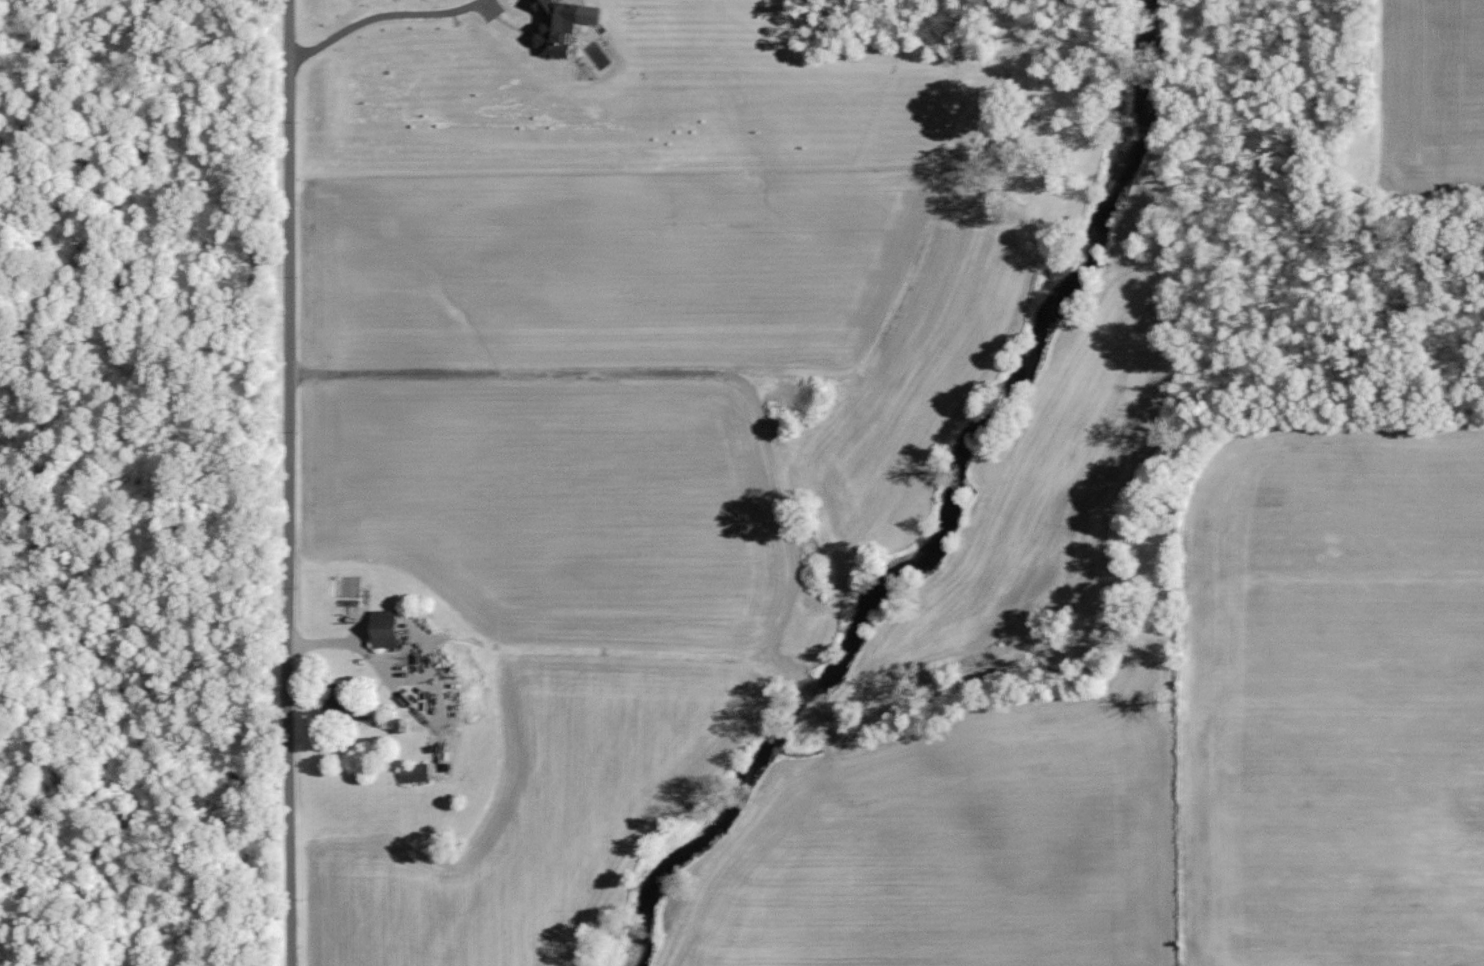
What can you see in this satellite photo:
road: (379, 13)
building: (557, 22)
road: (507, 369)
road: (288, 482)
building: (381, 628)
road: (377, 663)
building: (414, 772)

